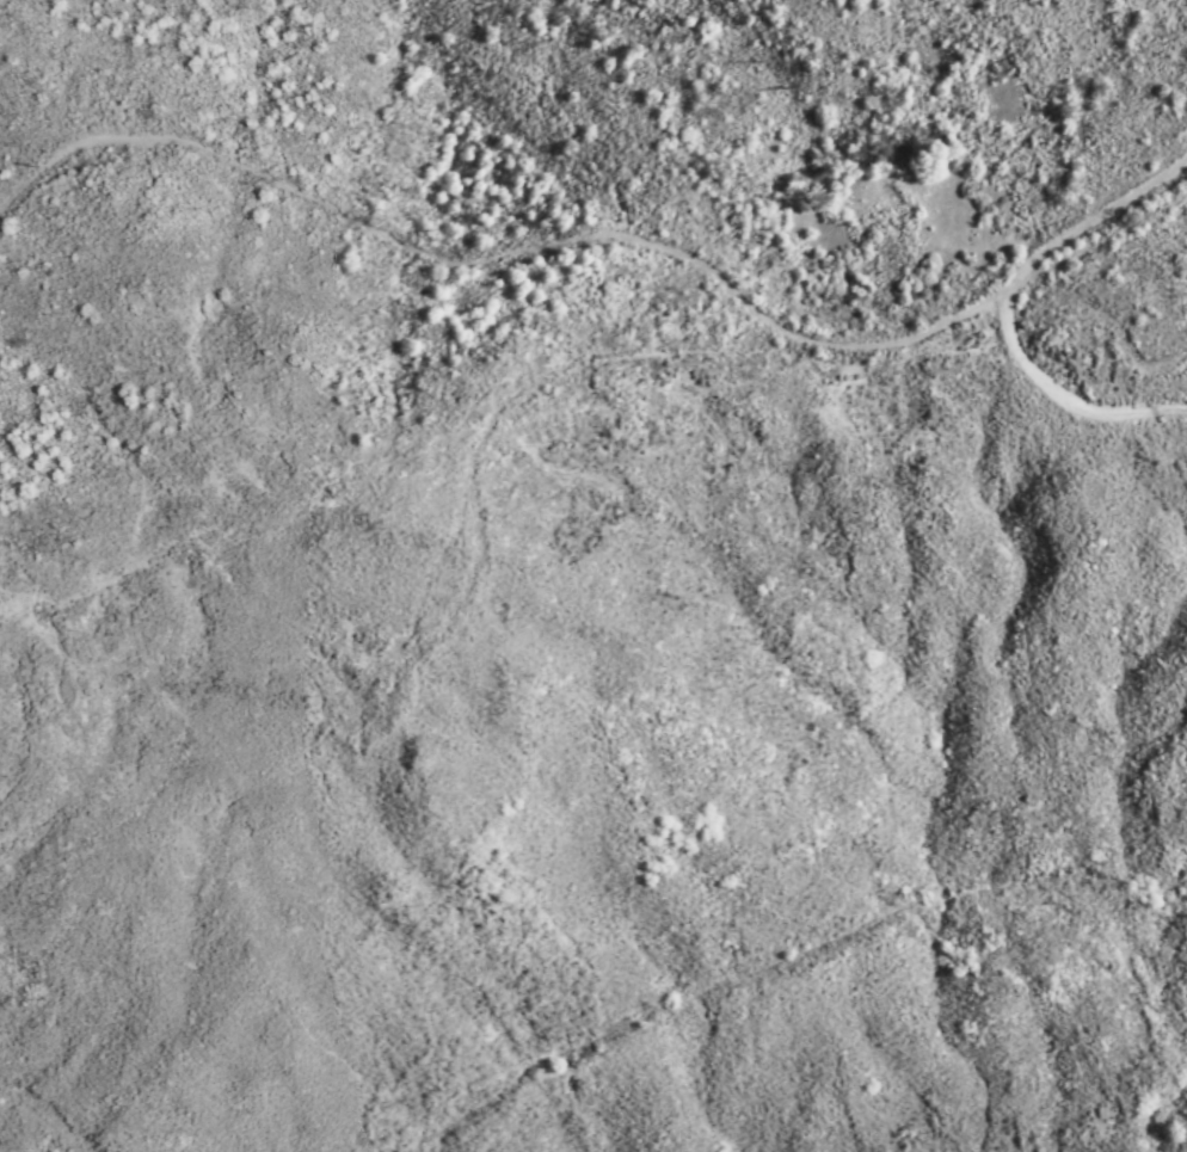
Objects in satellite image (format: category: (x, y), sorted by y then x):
road: (964, 133)
road: (1085, 223)
road: (498, 267)
road: (1069, 401)

